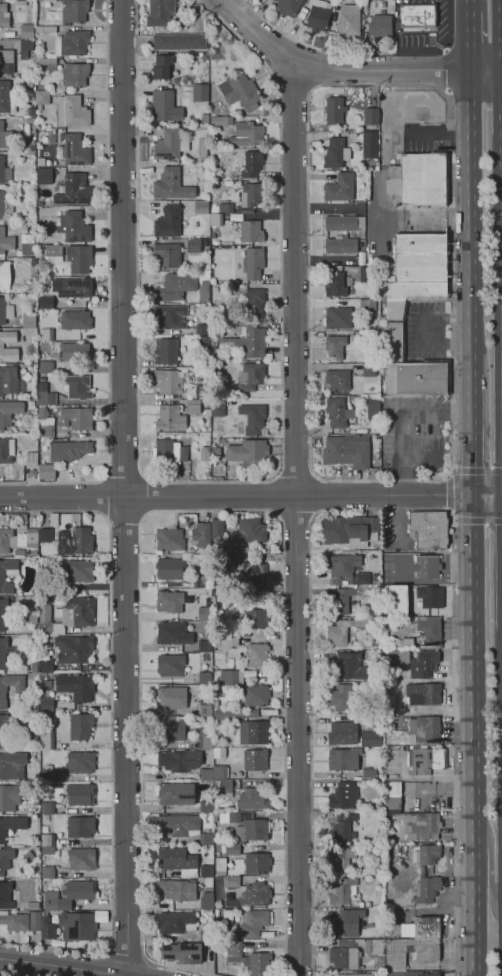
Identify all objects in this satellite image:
building: (275, 0)
building: (49, 1)
building: (340, 1)
building: (20, 5)
building: (329, 6)
road: (470, 6)
building: (288, 7)
building: (75, 11)
building: (160, 12)
building: (4, 15)
building: (418, 15)
building: (318, 16)
building: (349, 21)
building: (380, 28)
building: (45, 29)
building: (27, 31)
road: (501, 37)
building: (179, 41)
building: (72, 43)
road: (470, 44)
building: (25, 48)
road: (361, 54)
building: (203, 57)
building: (6, 62)
building: (47, 63)
building: (161, 67)
road: (444, 69)
road: (349, 70)
building: (75, 75)
building: (187, 79)
building: (28, 85)
road: (295, 88)
building: (240, 91)
building: (200, 93)
building: (6, 98)
building: (41, 98)
building: (165, 106)
building: (72, 111)
building: (334, 111)
building: (371, 116)
building: (205, 118)
building: (219, 120)
building: (246, 134)
building: (5, 136)
building: (169, 144)
building: (369, 144)
building: (33, 145)
building: (202, 149)
building: (73, 150)
building: (334, 152)
building: (252, 164)
building: (4, 171)
building: (44, 176)
building: (418, 179)
building: (33, 183)
building: (171, 185)
building: (340, 187)
building: (74, 190)
building: (251, 196)
building: (5, 205)
building: (226, 206)
building: (201, 207)
building: (235, 217)
building: (216, 219)
building: (168, 222)
building: (344, 223)
road: (471, 225)
building: (74, 227)
building: (250, 232)
building: (213, 235)
building: (5, 242)
building: (216, 242)
building: (205, 243)
building: (341, 244)
building: (26, 245)
building: (194, 245)
building: (167, 255)
building: (71, 257)
building: (420, 257)
building: (253, 263)
building: (9, 270)
building: (366, 271)
building: (203, 272)
building: (5, 279)
building: (336, 285)
building: (175, 286)
building: (72, 287)
building: (203, 290)
road: (107, 291)
building: (51, 303)
building: (254, 303)
building: (368, 305)
building: (199, 307)
building: (405, 309)
building: (5, 311)
building: (233, 311)
building: (170, 316)
building: (338, 318)
building: (76, 320)
building: (29, 321)
building: (199, 329)
building: (46, 334)
building: (367, 335)
building: (213, 339)
building: (204, 341)
building: (243, 343)
building: (1, 345)
building: (335, 346)
building: (166, 351)
building: (75, 353)
building: (33, 358)
building: (46, 367)
building: (369, 370)
building: (201, 375)
building: (250, 375)
building: (418, 377)
building: (338, 380)
building: (10, 381)
building: (168, 381)
building: (79, 387)
building: (202, 392)
building: (45, 394)
building: (244, 396)
building: (351, 397)
building: (362, 400)
building: (31, 405)
building: (193, 406)
building: (217, 408)
building: (373, 409)
building: (207, 411)
building: (9, 412)
building: (42, 412)
building: (337, 412)
building: (170, 417)
building: (76, 418)
building: (253, 418)
building: (45, 431)
road: (472, 435)
building: (45, 448)
building: (6, 450)
building: (68, 450)
building: (216, 451)
building: (347, 451)
building: (168, 452)
building: (249, 453)
building: (205, 454)
building: (31, 458)
building: (214, 462)
road: (452, 463)
building: (47, 471)
road: (296, 472)
road: (125, 475)
building: (21, 476)
building: (216, 477)
road: (224, 479)
road: (124, 487)
road: (317, 494)
road: (272, 495)
road: (100, 496)
road: (147, 496)
road: (236, 496)
traffic signals: (472, 496)
road: (487, 496)
road: (184, 510)
road: (383, 510)
building: (21, 517)
road: (125, 517)
road: (296, 517)
road: (296, 520)
building: (217, 529)
building: (429, 529)
building: (350, 530)
building: (250, 531)
building: (202, 534)
building: (32, 535)
building: (45, 535)
building: (170, 539)
building: (7, 540)
building: (75, 540)
building: (222, 547)
building: (192, 549)
building: (241, 549)
building: (19, 552)
building: (33, 553)
building: (225, 560)
building: (342, 567)
building: (427, 567)
building: (170, 569)
building: (80, 570)
building: (251, 573)
building: (8, 574)
building: (374, 577)
building: (362, 578)
building: (200, 581)
building: (431, 596)
building: (342, 600)
building: (170, 601)
building: (397, 601)
building: (3, 613)
building: (205, 614)
building: (67, 615)
building: (32, 617)
building: (256, 617)
building: (429, 628)
building: (343, 631)
building: (173, 634)
building: (229, 640)
building: (407, 642)
building: (204, 645)
building: (74, 648)
building: (4, 651)
building: (257, 655)
building: (397, 656)
building: (223, 660)
building: (424, 664)
building: (171, 665)
building: (34, 666)
building: (46, 666)
building: (350, 667)
building: (250, 673)
building: (231, 677)
building: (205, 678)
building: (76, 686)
building: (424, 693)
building: (2, 695)
building: (256, 695)
building: (173, 696)
building: (217, 696)
building: (342, 697)
building: (46, 705)
building: (35, 707)
building: (204, 710)
building: (251, 713)
building: (229, 714)
building: (81, 726)
building: (423, 729)
building: (170, 730)
building: (4, 731)
building: (251, 732)
building: (343, 733)
road: (111, 734)
road: (473, 735)
building: (47, 738)
building: (205, 738)
building: (371, 738)
building: (215, 742)
building: (219, 752)
building: (344, 759)
building: (179, 760)
building: (255, 760)
building: (427, 760)
building: (80, 762)
building: (12, 765)
building: (220, 772)
building: (369, 773)
building: (205, 774)
building: (48, 775)
building: (379, 776)
building: (223, 788)
building: (80, 794)
building: (176, 794)
building: (343, 795)
building: (9, 798)
building: (251, 800)
building: (392, 802)
building: (379, 805)
building: (206, 806)
building: (47, 808)
building: (418, 824)
building: (11, 825)
building: (80, 826)
building: (245, 826)
building: (183, 827)
building: (342, 827)
building: (45, 829)
building: (47, 839)
building: (413, 846)
building: (231, 849)
building: (47, 850)
building: (429, 854)
building: (28, 856)
building: (343, 857)
building: (5, 859)
building: (82, 859)
road: (490, 860)
building: (257, 862)
building: (183, 863)
building: (220, 864)
building: (48, 872)
building: (231, 881)
building: (342, 889)
building: (427, 889)
building: (178, 890)
building: (256, 894)
building: (7, 895)
building: (69, 895)
building: (206, 900)
building: (360, 904)
building: (368, 904)
building: (32, 905)
building: (216, 912)
building: (227, 917)
building: (15, 921)
building: (35, 921)
building: (176, 922)
building: (253, 922)
building: (345, 922)
building: (47, 927)
building: (79, 927)
building: (427, 927)
building: (204, 932)
building: (419, 948)
building: (376, 951)
road: (125, 952)
building: (182, 952)
building: (345, 953)
building: (250, 959)
road: (63, 967)
building: (407, 973)
building: (353, 974)
building: (381, 974)

